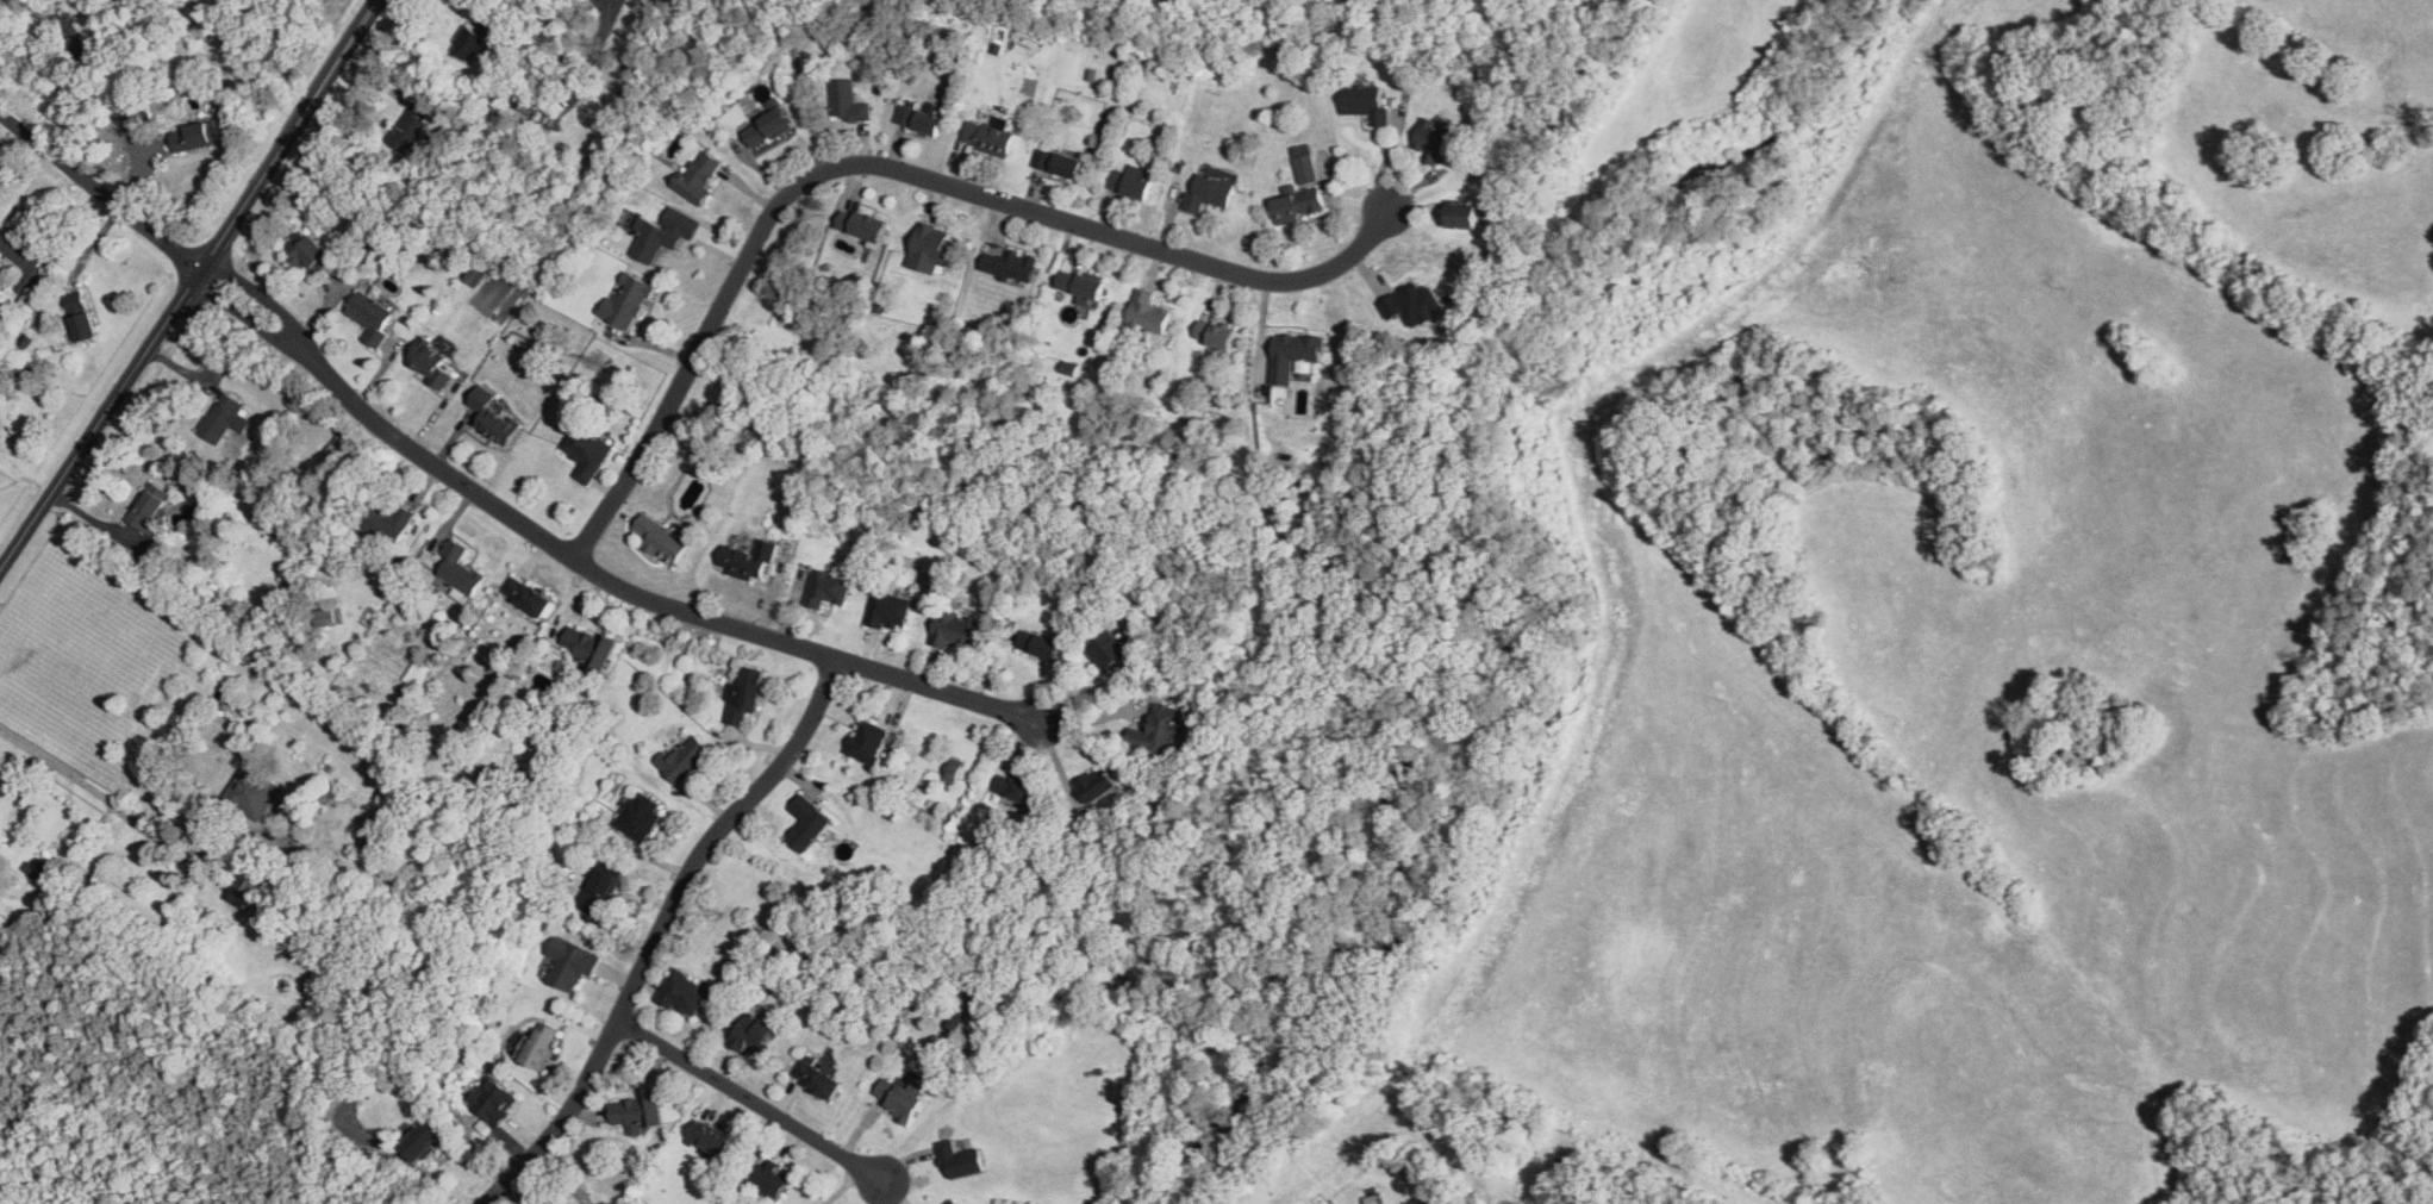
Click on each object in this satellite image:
building: (82, 32)
building: (476, 38)
building: (848, 102)
building: (1366, 104)
building: (136, 113)
building: (919, 119)
building: (412, 124)
building: (767, 127)
road: (288, 136)
building: (988, 137)
building: (194, 139)
building: (1431, 141)
building: (1058, 163)
building: (1304, 164)
road: (891, 169)
building: (699, 176)
building: (1130, 183)
road: (98, 192)
building: (1210, 192)
building: (1298, 205)
building: (1462, 217)
building: (861, 225)
building: (654, 241)
building: (931, 249)
building: (308, 251)
building: (25, 255)
building: (1007, 264)
building: (1081, 287)
road: (262, 295)
building: (626, 301)
building: (1416, 301)
road: (251, 310)
building: (82, 312)
building: (1148, 312)
building: (370, 317)
building: (1215, 336)
building: (1296, 356)
building: (429, 363)
building: (222, 418)
building: (493, 418)
road: (99, 419)
building: (586, 454)
building: (149, 511)
building: (388, 524)
building: (661, 541)
building: (747, 561)
building: (458, 570)
building: (826, 588)
road: (640, 597)
building: (526, 598)
building: (888, 610)
building: (329, 617)
building: (954, 629)
building: (1040, 644)
building: (587, 648)
building: (1108, 649)
building: (746, 694)
building: (1161, 730)
building: (871, 743)
building: (684, 759)
building: (1097, 784)
building: (1016, 788)
road: (98, 791)
building: (252, 792)
building: (640, 816)
building: (807, 822)
building: (378, 835)
building: (601, 886)
building: (242, 891)
road: (659, 930)
building: (569, 962)
building: (684, 993)
building: (753, 1033)
building: (538, 1044)
building: (818, 1077)
building: (900, 1098)
building: (492, 1099)
road: (749, 1099)
building: (638, 1110)
building: (710, 1139)
building: (422, 1140)
building: (960, 1160)
building: (771, 1179)
road: (843, 1185)
building: (953, 1202)
building: (587, 1203)

